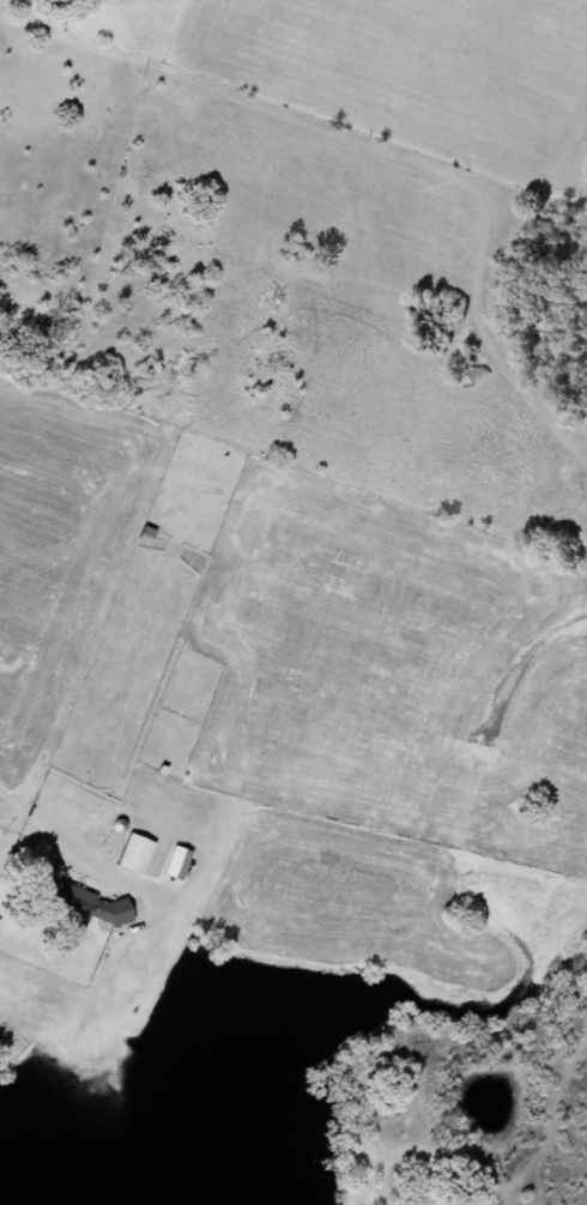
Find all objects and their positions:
road: (63, 832)
building: (129, 854)
building: (173, 861)
building: (65, 900)

